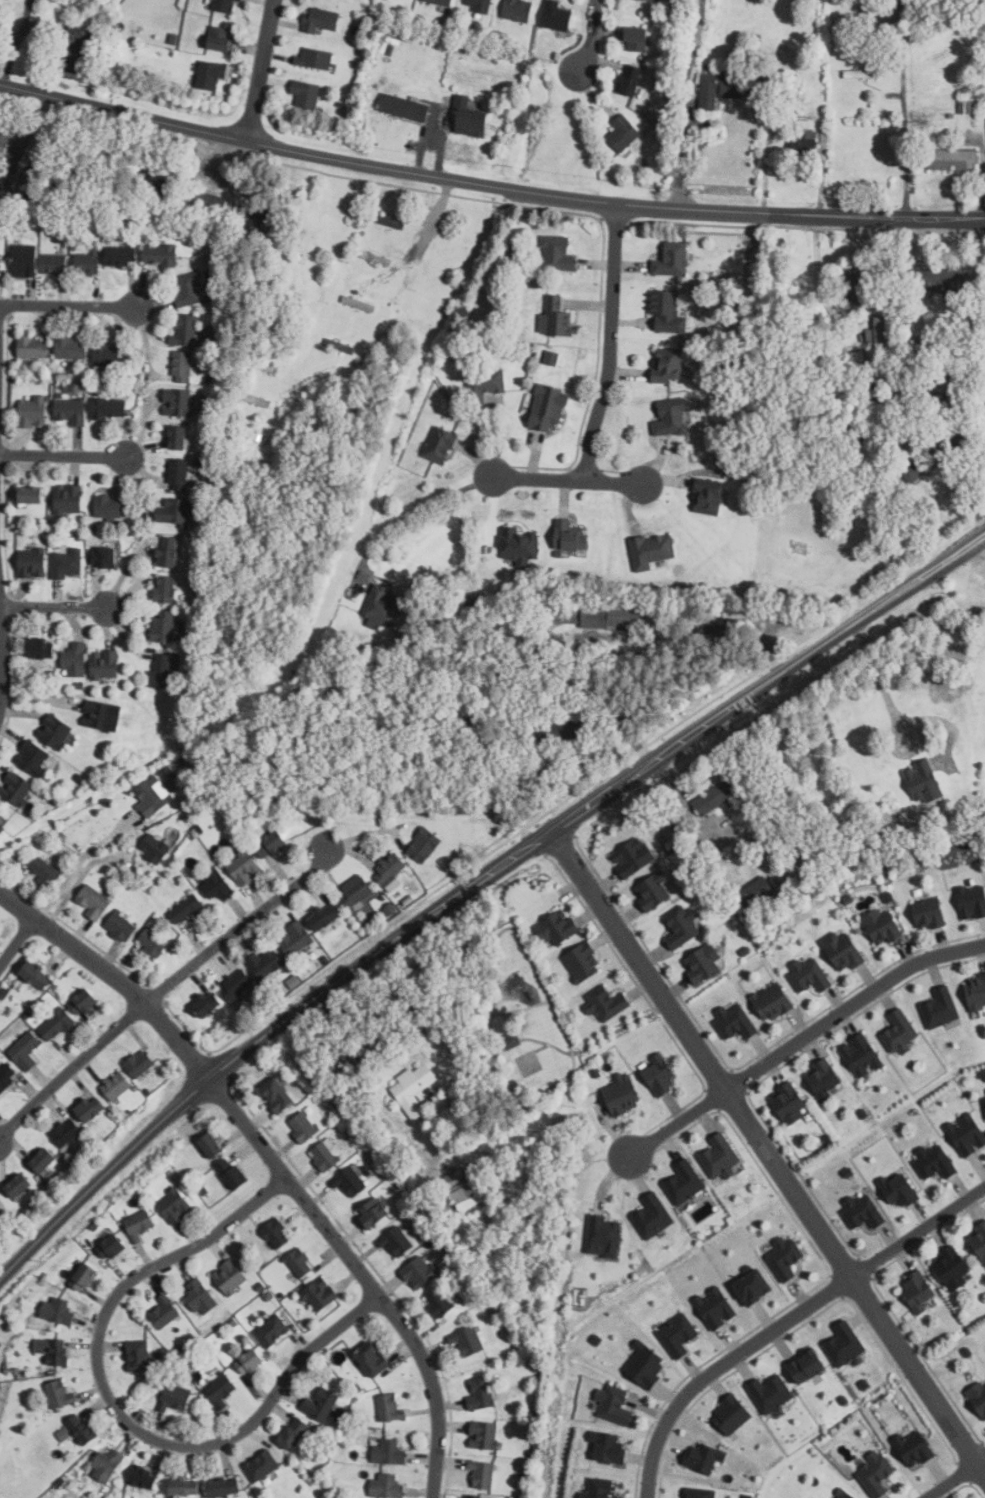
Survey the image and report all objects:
building: (653, 0)
building: (64, 2)
building: (443, 2)
building: (224, 5)
building: (479, 5)
building: (518, 9)
building: (556, 16)
building: (321, 19)
road: (592, 36)
building: (222, 38)
building: (637, 38)
building: (77, 48)
building: (315, 57)
road: (263, 70)
building: (861, 73)
building: (211, 74)
building: (631, 79)
building: (720, 88)
building: (306, 94)
road: (684, 103)
building: (405, 106)
building: (472, 115)
building: (623, 132)
building: (4, 138)
building: (807, 146)
building: (954, 160)
building: (58, 166)
building: (27, 171)
building: (96, 175)
road: (488, 184)
building: (159, 187)
building: (209, 204)
building: (389, 221)
building: (51, 224)
building: (558, 254)
building: (160, 255)
building: (121, 256)
building: (374, 257)
building: (303, 258)
building: (673, 259)
building: (26, 260)
building: (89, 261)
building: (2, 263)
building: (55, 263)
building: (937, 278)
building: (852, 285)
building: (189, 288)
building: (356, 303)
road: (70, 305)
building: (668, 311)
road: (390, 315)
building: (556, 317)
building: (875, 329)
building: (186, 330)
road: (609, 342)
building: (338, 345)
building: (920, 345)
building: (34, 347)
building: (71, 347)
building: (107, 354)
building: (548, 358)
building: (852, 361)
building: (669, 365)
building: (182, 366)
building: (262, 366)
building: (484, 385)
building: (879, 392)
building: (900, 394)
building: (256, 400)
building: (178, 402)
building: (951, 402)
building: (547, 406)
building: (110, 408)
building: (71, 410)
building: (33, 411)
building: (672, 417)
building: (851, 423)
building: (856, 429)
building: (912, 429)
building: (247, 433)
building: (862, 436)
building: (179, 439)
building: (441, 444)
road: (64, 455)
building: (911, 466)
building: (178, 474)
road: (570, 478)
road: (965, 486)
building: (32, 495)
building: (710, 496)
building: (68, 499)
building: (109, 505)
building: (174, 511)
road: (414, 513)
building: (571, 535)
building: (521, 544)
building: (652, 550)
building: (169, 552)
building: (105, 557)
building: (33, 563)
building: (68, 563)
building: (166, 589)
road: (909, 592)
road: (55, 605)
building: (382, 606)
building: (606, 616)
building: (164, 626)
building: (42, 649)
building: (75, 659)
building: (106, 665)
road: (3, 668)
building: (161, 671)
building: (98, 714)
road: (894, 714)
building: (561, 730)
building: (55, 731)
road: (664, 754)
building: (33, 757)
building: (926, 782)
building: (17, 787)
building: (719, 794)
building: (149, 795)
building: (2, 830)
building: (886, 831)
building: (425, 843)
building: (272, 844)
building: (155, 848)
building: (633, 856)
road: (81, 861)
building: (245, 868)
building: (43, 870)
building: (388, 870)
road: (77, 879)
building: (216, 884)
building: (355, 890)
building: (654, 890)
building: (757, 891)
building: (885, 897)
building: (845, 900)
building: (970, 901)
building: (94, 902)
building: (187, 910)
building: (930, 913)
building: (325, 916)
building: (122, 926)
building: (682, 926)
building: (883, 926)
road: (242, 927)
building: (559, 928)
building: (297, 939)
road: (17, 941)
building: (153, 942)
building: (743, 950)
building: (844, 950)
building: (265, 963)
building: (584, 963)
building: (704, 963)
building: (36, 976)
building: (811, 976)
road: (115, 977)
building: (230, 985)
building: (976, 993)
building: (774, 1001)
building: (85, 1003)
building: (607, 1004)
building: (204, 1006)
building: (938, 1008)
building: (731, 1022)
building: (57, 1025)
building: (901, 1033)
building: (512, 1040)
road: (802, 1040)
building: (25, 1051)
building: (858, 1055)
road: (236, 1061)
building: (140, 1063)
road: (71, 1068)
building: (595, 1072)
building: (660, 1075)
building: (7, 1076)
building: (820, 1078)
building: (116, 1085)
building: (415, 1089)
building: (984, 1089)
building: (984, 1091)
building: (619, 1095)
building: (278, 1096)
building: (784, 1104)
building: (983, 1105)
building: (90, 1110)
building: (862, 1114)
building: (303, 1127)
building: (66, 1132)
building: (965, 1135)
building: (827, 1139)
building: (204, 1143)
building: (213, 1145)
road: (765, 1146)
building: (324, 1156)
building: (721, 1156)
building: (36, 1159)
building: (45, 1160)
building: (935, 1161)
building: (846, 1172)
building: (233, 1173)
building: (350, 1181)
building: (682, 1182)
building: (20, 1185)
building: (895, 1190)
building: (469, 1196)
building: (175, 1206)
building: (863, 1211)
building: (375, 1212)
building: (650, 1216)
building: (140, 1224)
road: (918, 1231)
building: (277, 1233)
building: (601, 1237)
building: (979, 1239)
building: (396, 1240)
building: (113, 1248)
building: (783, 1257)
building: (300, 1263)
building: (952, 1268)
building: (420, 1272)
road: (362, 1274)
building: (230, 1277)
building: (85, 1278)
building: (750, 1285)
building: (920, 1290)
building: (321, 1295)
building: (201, 1298)
building: (439, 1301)
building: (712, 1306)
building: (60, 1312)
building: (165, 1312)
building: (273, 1331)
building: (675, 1334)
building: (595, 1339)
building: (468, 1340)
building: (842, 1342)
building: (59, 1352)
building: (966, 1352)
building: (138, 1355)
building: (375, 1359)
building: (251, 1361)
road: (718, 1363)
building: (643, 1365)
building: (803, 1365)
building: (863, 1383)
building: (222, 1391)
building: (768, 1392)
building: (60, 1394)
building: (482, 1394)
building: (176, 1397)
building: (842, 1398)
building: (976, 1399)
building: (615, 1404)
building: (320, 1405)
building: (390, 1407)
road: (117, 1412)
building: (730, 1413)
building: (82, 1429)
building: (60, 1433)
building: (294, 1433)
building: (484, 1435)
building: (605, 1446)
building: (911, 1446)
building: (389, 1452)
building: (702, 1456)
road: (981, 1461)
building: (107, 1464)
building: (262, 1465)
road: (981, 1469)
building: (482, 1473)
building: (876, 1473)
building: (142, 1477)
road: (949, 1481)
building: (183, 1486)
building: (225, 1486)
building: (387, 1486)
building: (595, 1488)
building: (698, 1492)
building: (845, 1494)
building: (473, 1495)
building: (746, 1495)

